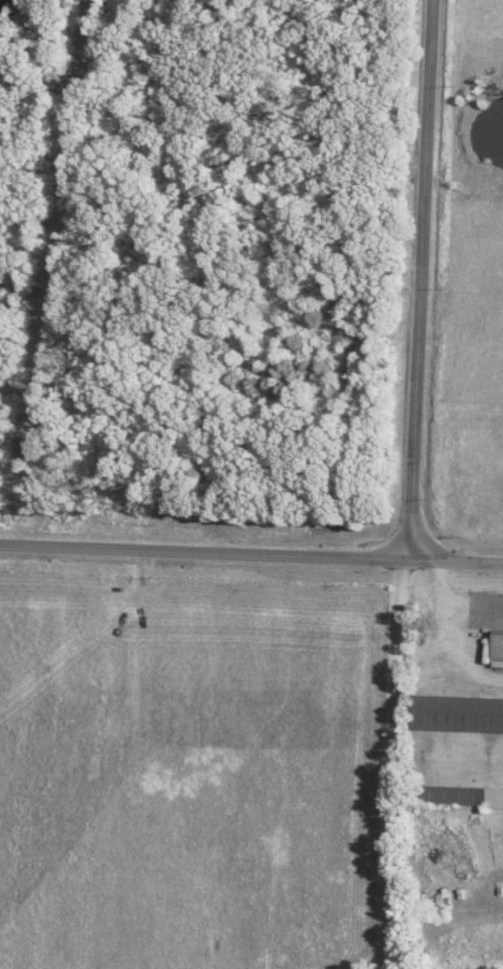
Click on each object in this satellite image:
road: (422, 279)
road: (202, 550)
road: (453, 561)
road: (396, 763)
building: (464, 795)

